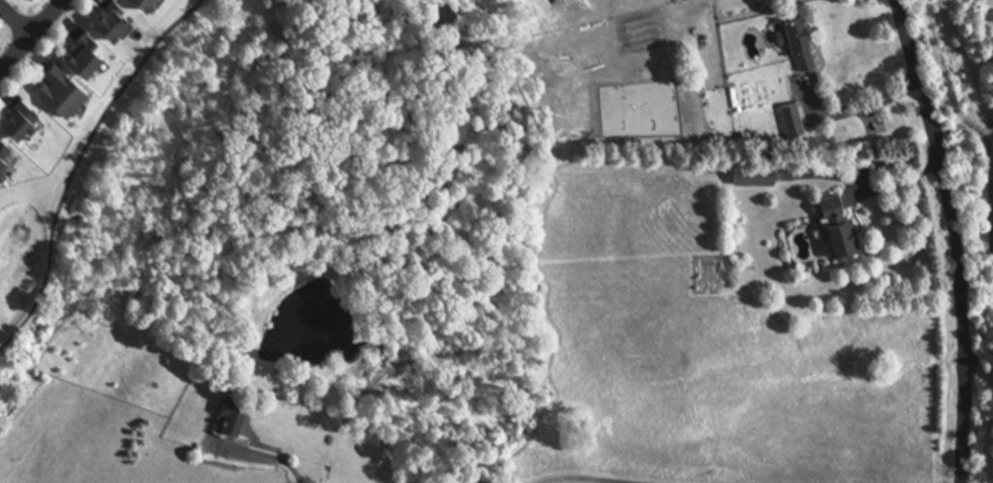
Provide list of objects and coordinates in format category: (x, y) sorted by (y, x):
building: (143, 1)
building: (155, 3)
building: (109, 16)
building: (122, 20)
road: (14, 22)
road: (31, 34)
building: (808, 41)
building: (86, 50)
park: (979, 50)
building: (61, 84)
road: (861, 107)
building: (20, 114)
building: (800, 118)
building: (4, 146)
road: (75, 162)
road: (869, 175)
building: (849, 225)
road: (954, 239)
building: (242, 414)
road: (285, 462)
road: (597, 477)

